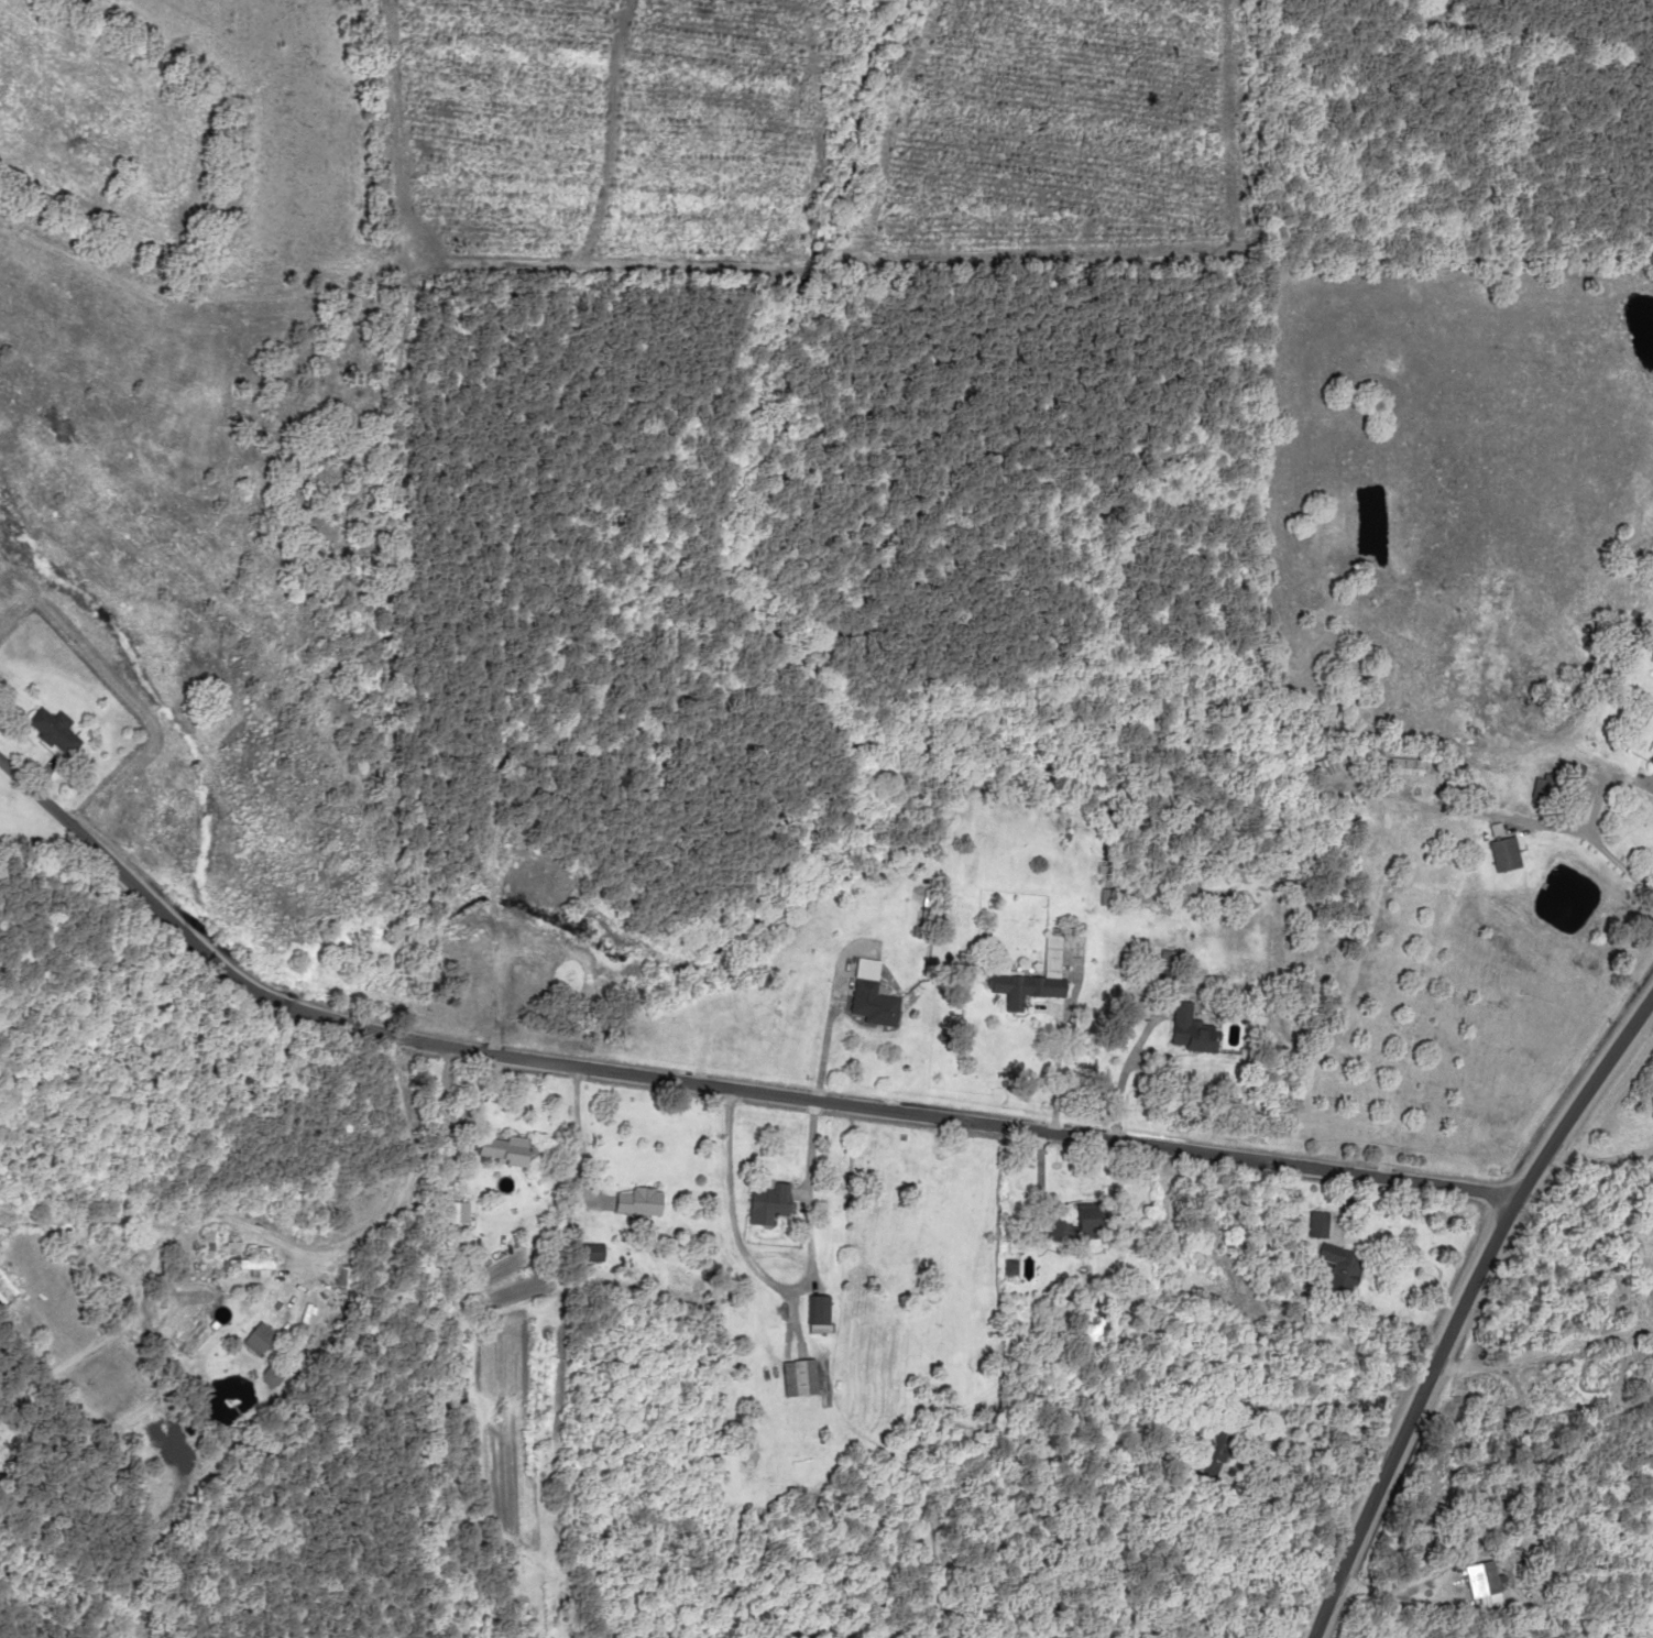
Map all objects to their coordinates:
building: (50, 730)
building: (1650, 760)
building: (1331, 761)
building: (1395, 765)
building: (1496, 849)
building: (1026, 978)
building: (866, 995)
building: (1182, 1029)
road: (711, 1074)
building: (496, 1148)
building: (634, 1199)
building: (763, 1202)
building: (453, 1211)
building: (1072, 1222)
building: (1311, 1222)
building: (209, 1248)
building: (587, 1251)
building: (1333, 1266)
building: (343, 1278)
road: (1460, 1290)
building: (813, 1312)
building: (255, 1337)
building: (793, 1376)
building: (1207, 1449)
building: (1475, 1580)
building: (1209, 1632)

